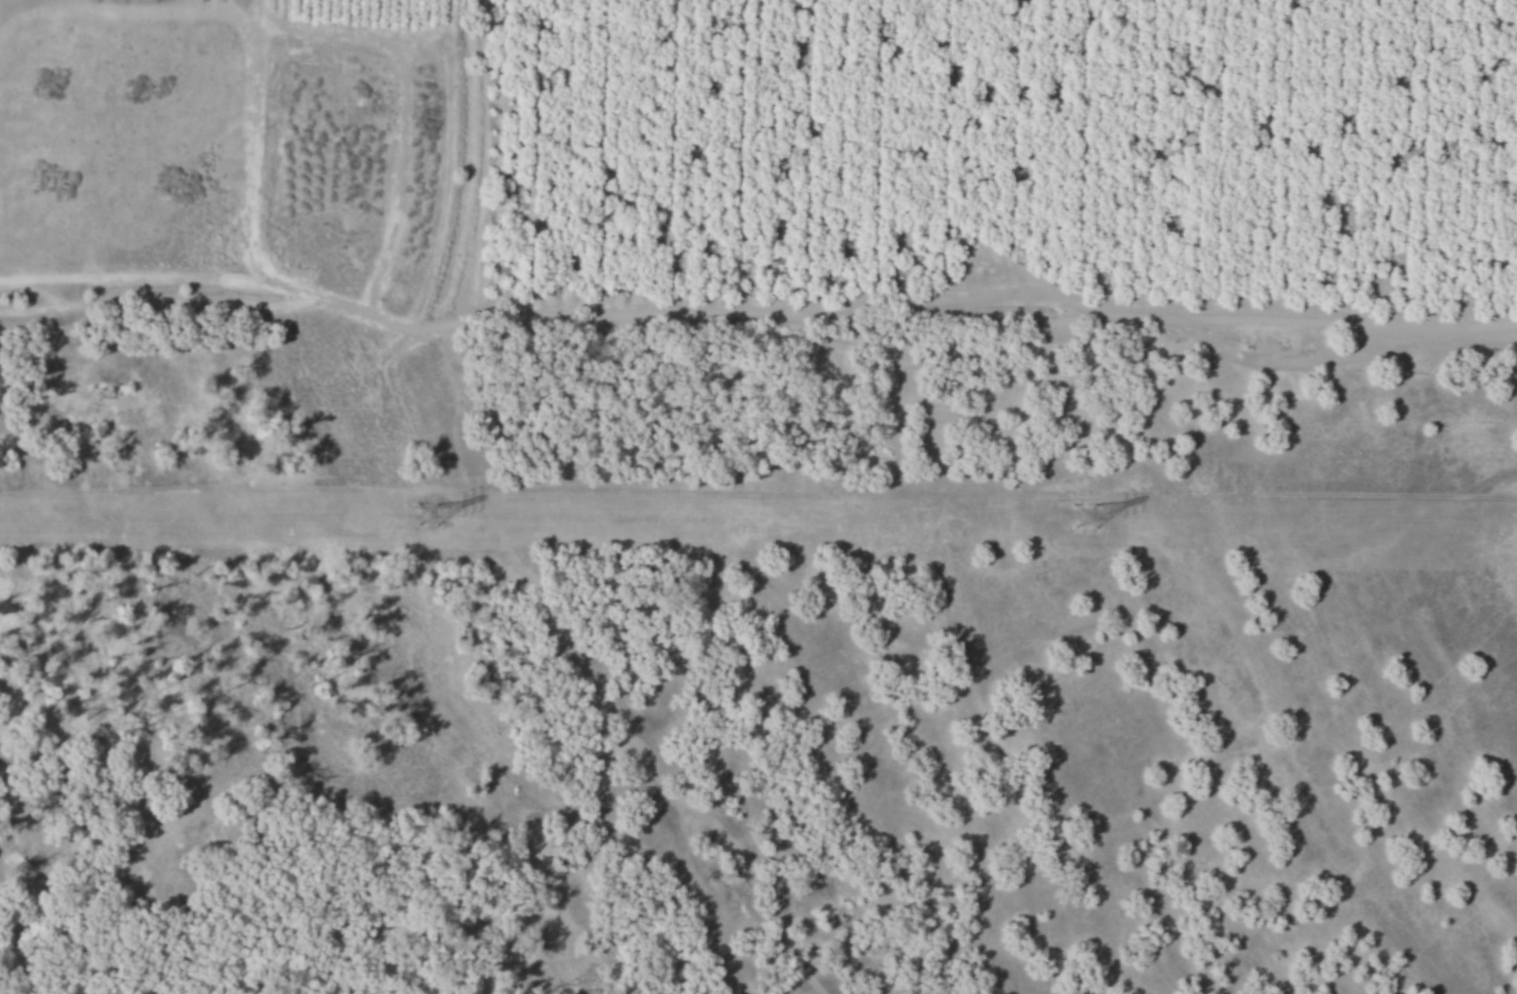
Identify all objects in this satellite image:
power tower: (426, 515)
power tower: (1084, 517)

